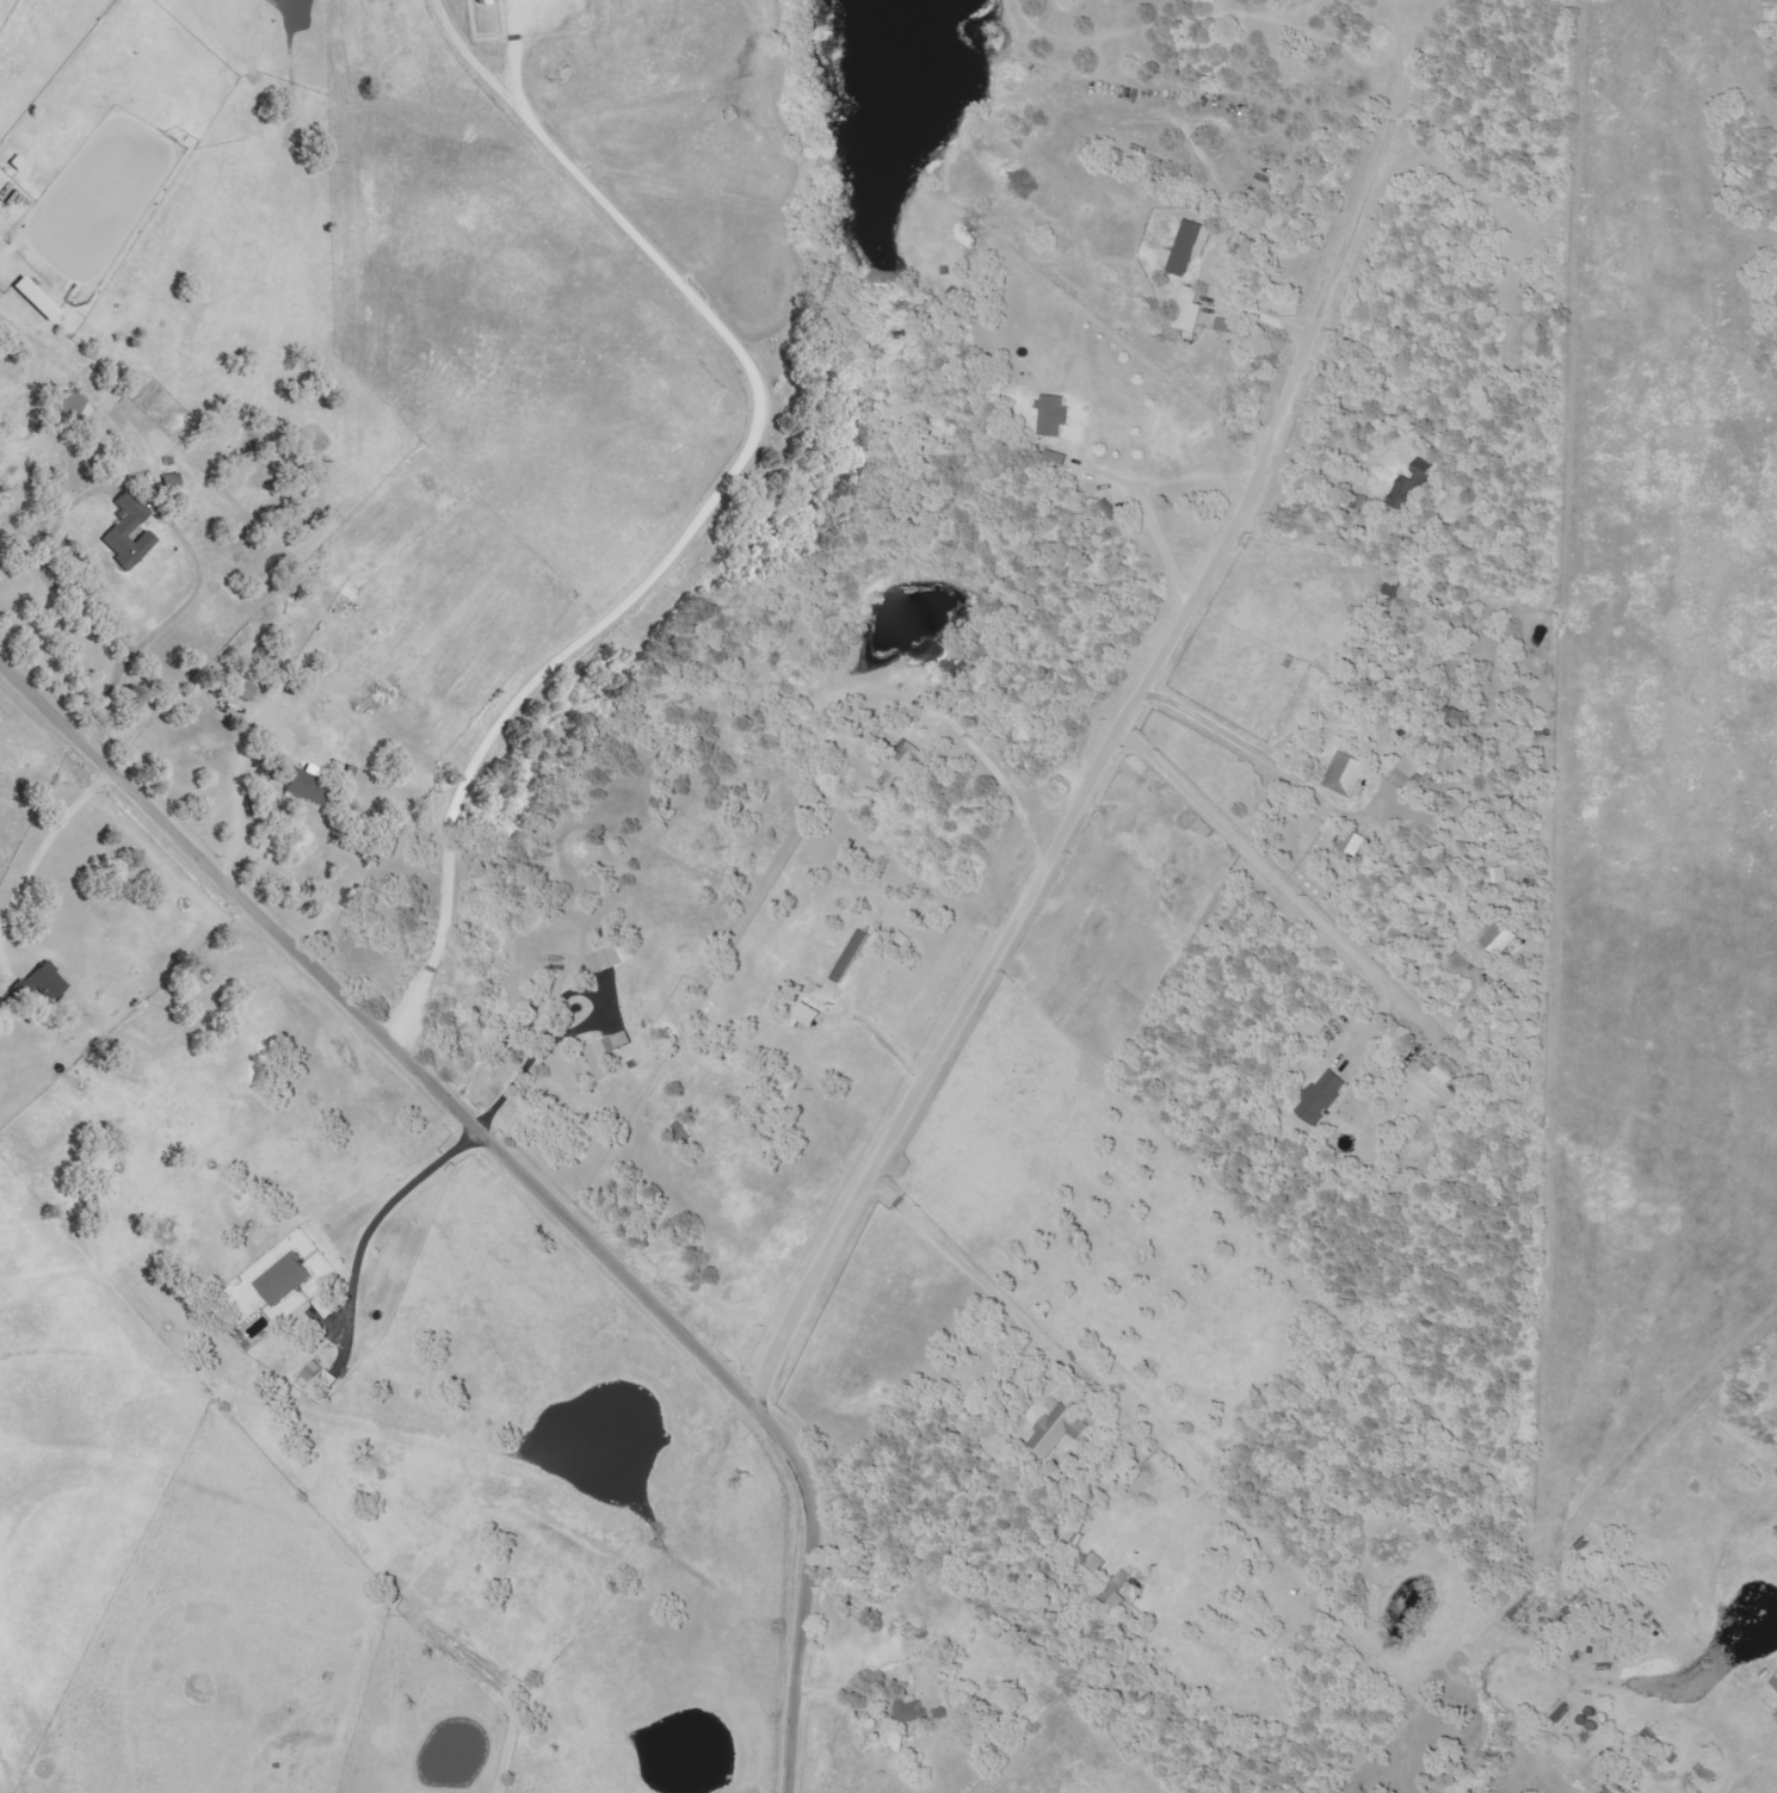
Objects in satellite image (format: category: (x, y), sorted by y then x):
building: (1189, 248)
building: (1191, 311)
building: (1232, 326)
building: (1054, 416)
road: (749, 444)
building: (1412, 486)
building: (130, 532)
road: (163, 622)
building: (245, 691)
road: (1121, 719)
road: (1240, 744)
building: (912, 756)
building: (1408, 773)
building: (1346, 775)
building: (304, 783)
road: (1001, 789)
road: (239, 816)
building: (1355, 843)
building: (1501, 876)
road: (1283, 884)
building: (1499, 938)
building: (851, 957)
building: (605, 962)
road: (424, 976)
building: (44, 983)
building: (810, 1016)
road: (569, 1030)
building: (604, 1062)
building: (1444, 1071)
building: (1322, 1098)
road: (522, 1175)
road: (377, 1214)
road: (974, 1272)
building: (286, 1280)
building: (328, 1306)
building: (319, 1375)
building: (1057, 1430)
building: (1116, 1595)
building: (1775, 1683)
building: (909, 1712)
building: (1596, 1773)

